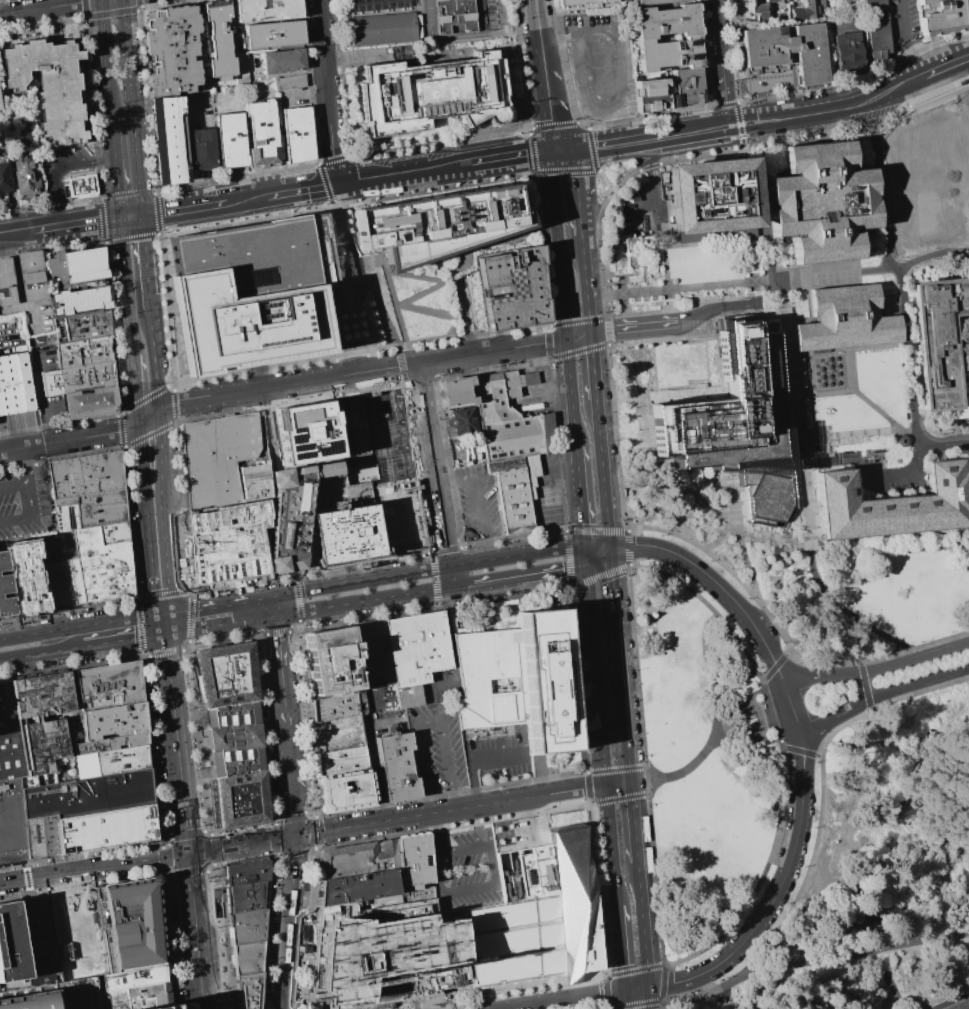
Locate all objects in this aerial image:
building: (653, 1)
building: (583, 2)
road: (50, 7)
building: (756, 8)
building: (267, 10)
building: (805, 10)
building: (454, 16)
building: (943, 16)
road: (430, 20)
building: (378, 21)
building: (665, 21)
road: (538, 22)
building: (876, 30)
building: (274, 34)
building: (223, 39)
road: (906, 39)
road: (553, 41)
road: (603, 44)
building: (787, 50)
building: (846, 50)
building: (175, 51)
building: (668, 53)
road: (105, 56)
building: (285, 61)
parking lot: (602, 63)
road: (723, 63)
road: (944, 64)
building: (244, 67)
road: (968, 80)
building: (292, 82)
building: (685, 86)
building: (48, 87)
road: (325, 91)
road: (884, 92)
road: (967, 94)
building: (433, 95)
building: (649, 95)
road: (548, 97)
road: (131, 106)
road: (736, 109)
road: (793, 116)
road: (734, 125)
road: (867, 125)
road: (815, 129)
building: (264, 134)
building: (299, 134)
road: (730, 135)
road: (739, 135)
road: (660, 137)
building: (175, 139)
building: (234, 140)
road: (750, 145)
building: (207, 148)
road: (573, 149)
traffic signals: (556, 151)
road: (512, 156)
road: (622, 156)
road: (593, 159)
road: (115, 165)
road: (54, 166)
road: (451, 166)
parking lot: (61, 168)
road: (585, 170)
road: (574, 172)
road: (382, 176)
building: (4, 178)
building: (25, 179)
road: (601, 179)
building: (924, 181)
building: (81, 186)
road: (607, 189)
road: (608, 190)
road: (290, 191)
road: (327, 193)
building: (711, 195)
building: (0, 196)
road: (223, 201)
building: (821, 202)
road: (170, 210)
road: (765, 212)
traffic signals: (141, 214)
road: (553, 215)
road: (130, 216)
traffic signals: (120, 218)
road: (578, 222)
road: (76, 223)
building: (437, 223)
road: (16, 231)
road: (352, 231)
road: (691, 236)
road: (463, 252)
road: (598, 253)
road: (448, 254)
road: (145, 263)
building: (76, 265)
road: (383, 265)
road: (890, 268)
road: (14, 269)
road: (899, 273)
road: (363, 275)
building: (30, 276)
road: (783, 279)
road: (769, 280)
building: (5, 281)
road: (710, 285)
road: (126, 286)
building: (512, 286)
road: (585, 288)
building: (251, 292)
building: (80, 302)
parking lot: (763, 303)
road: (397, 304)
road: (716, 306)
road: (563, 309)
road: (362, 313)
road: (848, 313)
road: (604, 316)
road: (467, 317)
building: (847, 321)
building: (84, 327)
road: (633, 328)
traffic signals: (591, 334)
traffic signals: (566, 339)
building: (943, 340)
road: (504, 348)
road: (109, 349)
road: (883, 350)
building: (70, 352)
road: (800, 355)
road: (371, 359)
road: (399, 359)
road: (154, 364)
road: (338, 364)
road: (593, 366)
road: (792, 367)
road: (339, 376)
building: (77, 379)
building: (15, 386)
road: (135, 386)
road: (570, 392)
road: (812, 395)
road: (203, 396)
road: (39, 398)
building: (92, 403)
road: (814, 416)
building: (462, 420)
road: (888, 421)
building: (737, 422)
road: (270, 426)
building: (308, 433)
road: (848, 434)
building: (373, 436)
road: (76, 438)
building: (504, 439)
road: (646, 446)
road: (945, 446)
road: (824, 455)
building: (222, 461)
road: (804, 461)
road: (436, 463)
building: (85, 473)
road: (602, 473)
road: (397, 478)
road: (870, 479)
road: (703, 483)
building: (24, 491)
road: (579, 496)
road: (804, 503)
building: (894, 504)
building: (89, 508)
building: (293, 512)
road: (157, 513)
building: (399, 516)
rooftop solar panel: (63, 518)
rooftop solar panel: (70, 518)
building: (111, 531)
building: (346, 533)
road: (751, 537)
building: (227, 541)
road: (772, 541)
road: (898, 541)
road: (740, 543)
road: (792, 543)
building: (310, 547)
traffic signals: (584, 547)
traffic signals: (609, 549)
road: (695, 553)
road: (585, 556)
road: (597, 557)
road: (497, 558)
building: (3, 560)
building: (101, 565)
traffic signals: (586, 565)
building: (25, 576)
road: (451, 576)
road: (519, 576)
road: (353, 582)
building: (62, 583)
road: (716, 583)
building: (5, 584)
road: (297, 591)
traffic signals: (273, 595)
road: (363, 601)
road: (219, 604)
building: (7, 605)
road: (274, 606)
traffic signals: (165, 613)
road: (614, 613)
road: (839, 614)
traffic signals: (275, 617)
road: (107, 621)
road: (165, 624)
road: (219, 625)
road: (35, 633)
traffic signals: (165, 635)
road: (277, 636)
road: (9, 637)
road: (112, 643)
road: (450, 645)
building: (375, 652)
building: (416, 653)
road: (166, 654)
road: (29, 655)
building: (337, 661)
building: (54, 662)
road: (771, 668)
road: (876, 669)
road: (595, 675)
building: (225, 676)
building: (520, 681)
building: (108, 685)
road: (864, 685)
road: (282, 691)
road: (766, 691)
road: (881, 692)
building: (40, 695)
road: (790, 706)
building: (340, 708)
building: (112, 722)
road: (431, 723)
road: (774, 727)
road: (625, 729)
road: (800, 733)
road: (722, 737)
building: (9, 739)
building: (234, 740)
road: (287, 742)
road: (176, 743)
building: (109, 744)
building: (42, 746)
parking lot: (438, 748)
parking lot: (501, 755)
road: (475, 759)
building: (111, 761)
building: (342, 762)
building: (398, 767)
road: (847, 768)
road: (683, 769)
road: (375, 771)
building: (32, 782)
road: (290, 782)
road: (618, 783)
building: (345, 790)
road: (552, 793)
building: (88, 795)
road: (631, 799)
building: (240, 801)
building: (212, 803)
road: (450, 810)
road: (293, 820)
building: (12, 822)
building: (154, 826)
road: (349, 827)
building: (104, 829)
road: (185, 833)
road: (435, 833)
traffic signals: (295, 836)
building: (41, 837)
road: (635, 839)
road: (241, 844)
road: (610, 844)
traffic signals: (188, 853)
building: (355, 858)
road: (211, 859)
road: (295, 859)
building: (408, 859)
road: (140, 861)
road: (165, 866)
road: (190, 872)
parking lot: (465, 872)
road: (67, 873)
road: (189, 874)
road: (21, 879)
road: (213, 881)
building: (245, 884)
building: (353, 885)
road: (170, 886)
road: (492, 886)
road: (9, 891)
road: (775, 895)
building: (539, 914)
road: (192, 916)
road: (292, 916)
road: (642, 924)
building: (129, 925)
building: (246, 925)
building: (196, 927)
building: (76, 933)
building: (36, 936)
building: (11, 944)
road: (901, 944)
road: (619, 947)
road: (196, 951)
building: (386, 953)
road: (20, 954)
building: (246, 957)
road: (824, 964)
road: (885, 975)
building: (132, 978)
road: (288, 979)
road: (752, 981)
traffic signals: (649, 987)
road: (200, 988)
building: (247, 989)
road: (636, 989)
traffic signals: (624, 991)
building: (75, 994)
building: (134, 997)
building: (28, 998)
road: (649, 998)
road: (568, 999)
road: (624, 1000)
building: (159, 1007)
road: (968, 1008)

